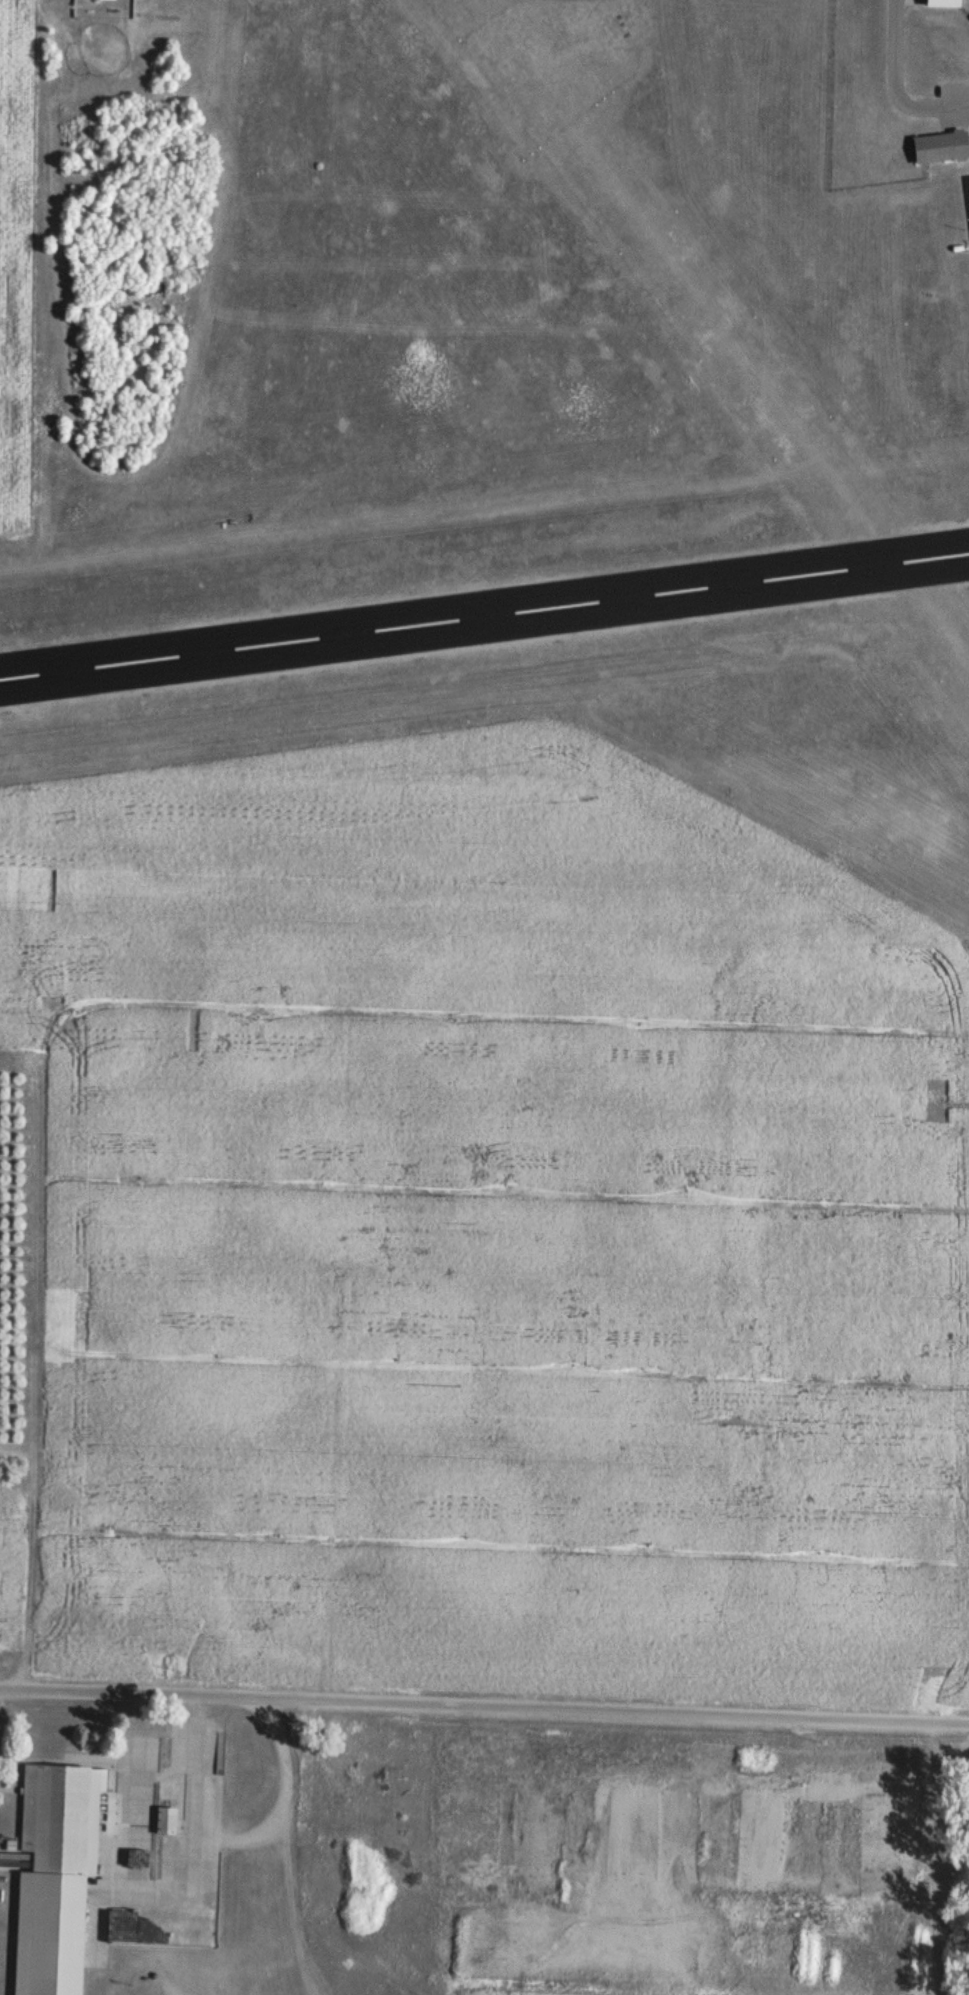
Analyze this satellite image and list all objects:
airport hangar: (942, 2)
building: (942, 2)
road: (894, 87)
airport terminal: (941, 147)
building: (941, 147)
airport apron: (965, 202)
airport runway: (722, 330)
airport: (565, 417)
airport runway: (484, 616)
road: (484, 1691)
building: (164, 1821)
building: (54, 1876)

